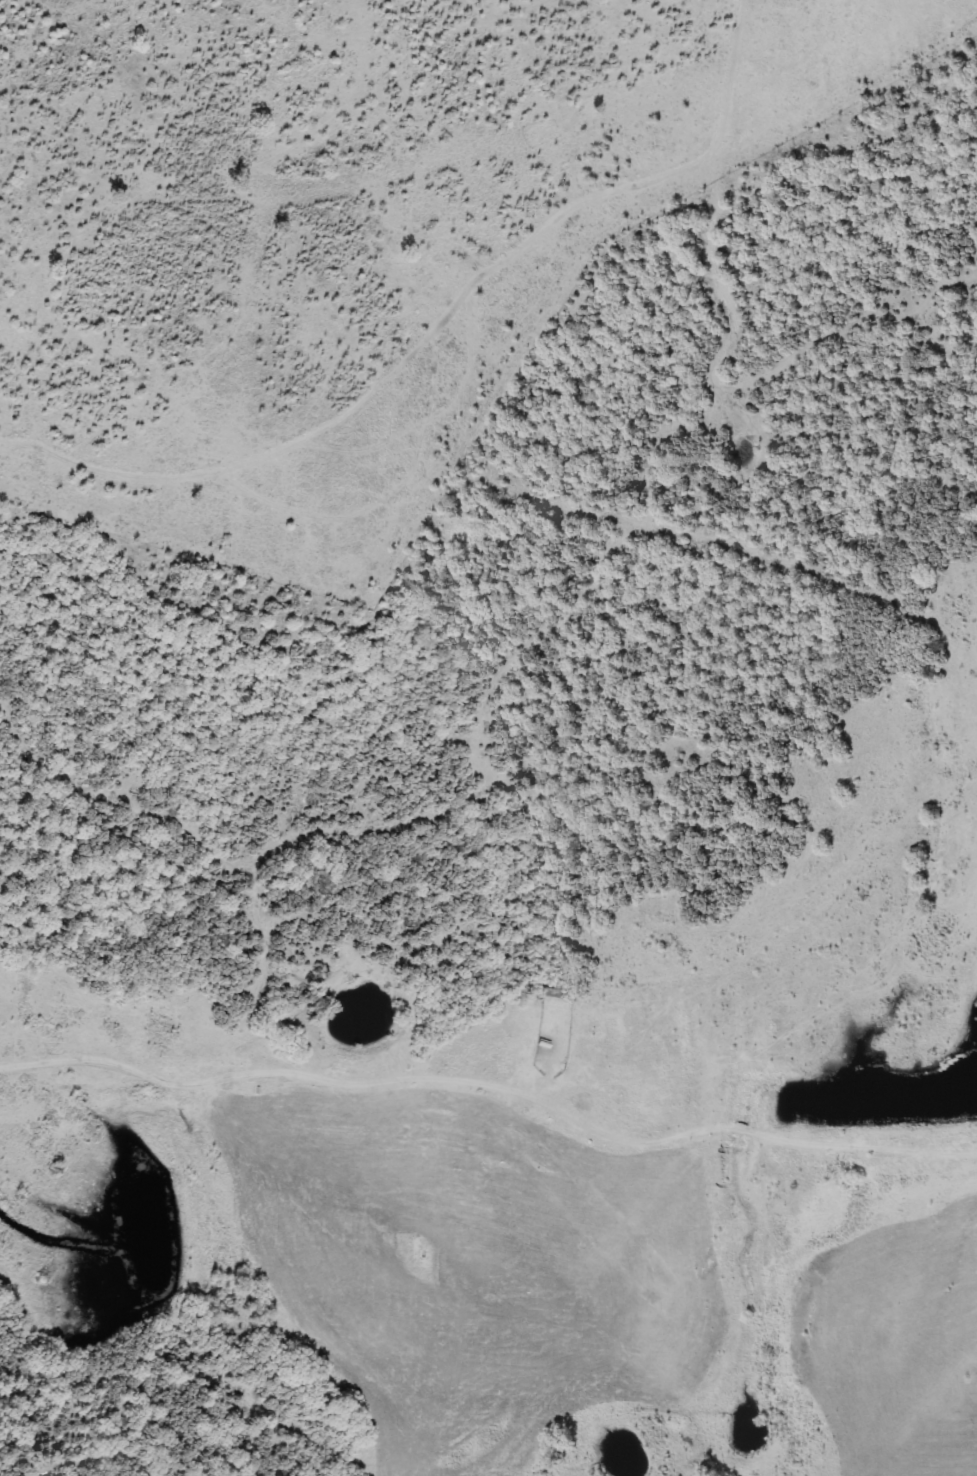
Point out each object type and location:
road: (18, 1060)

